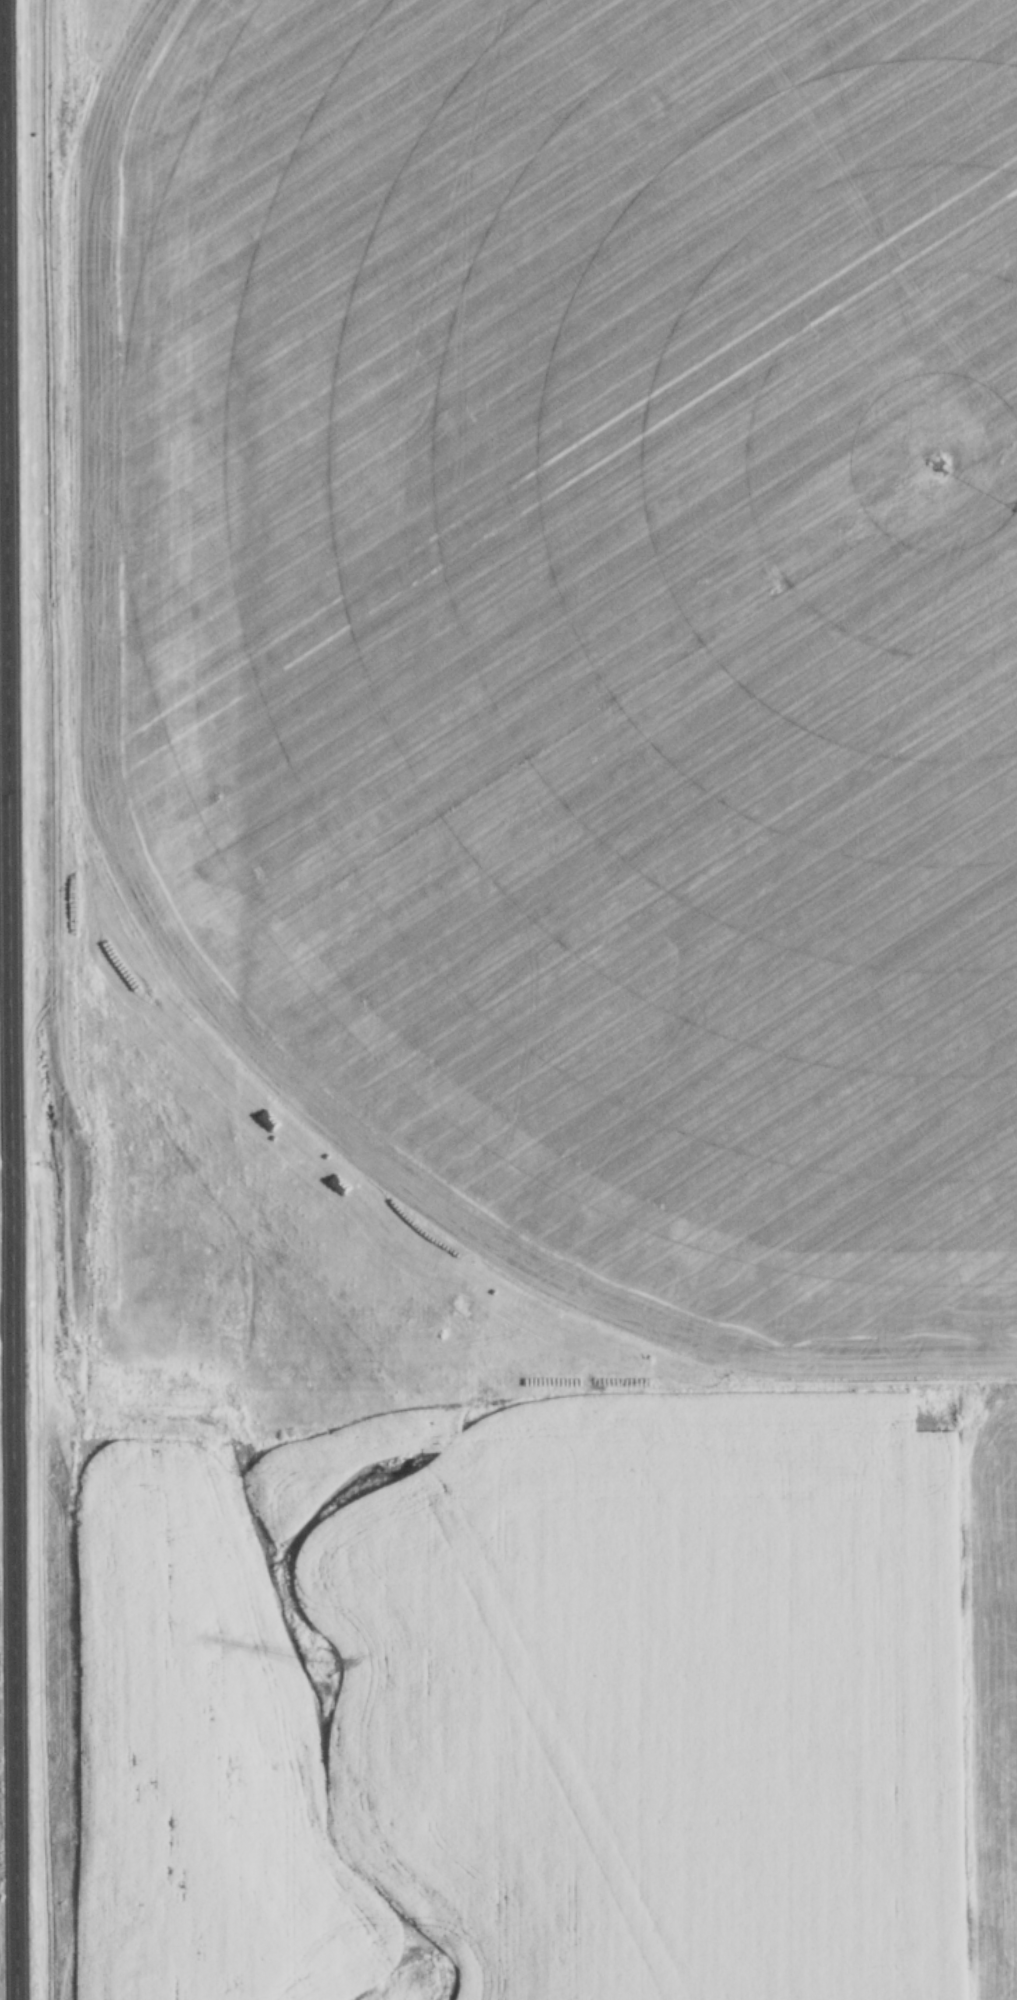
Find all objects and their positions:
road: (14, 999)
power tower: (319, 1664)

